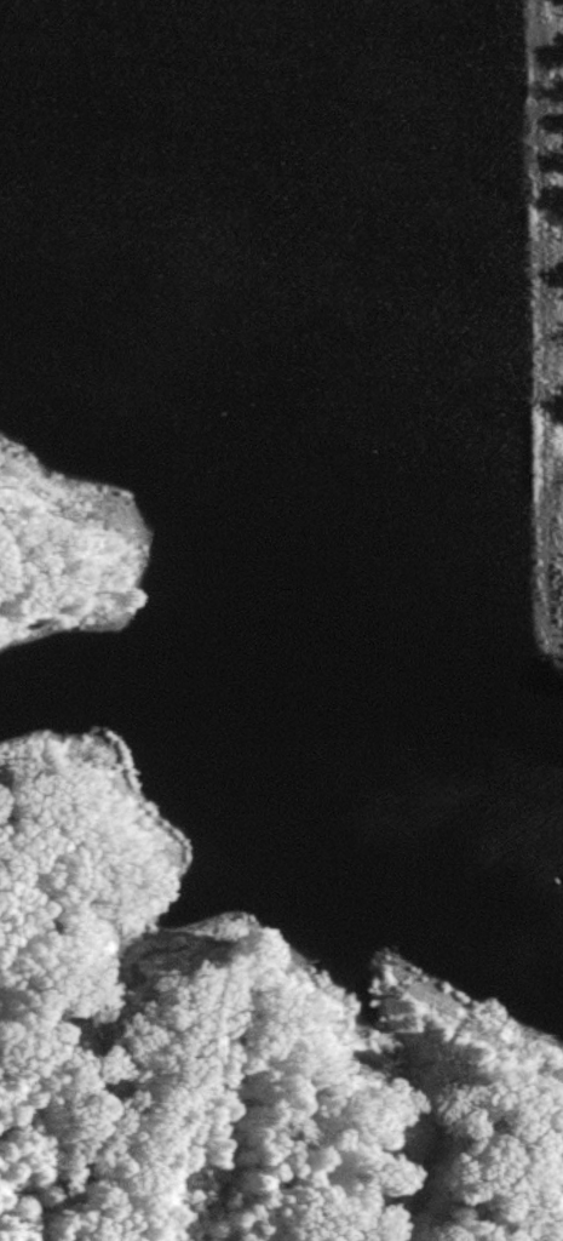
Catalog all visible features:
river: (264, 492)

